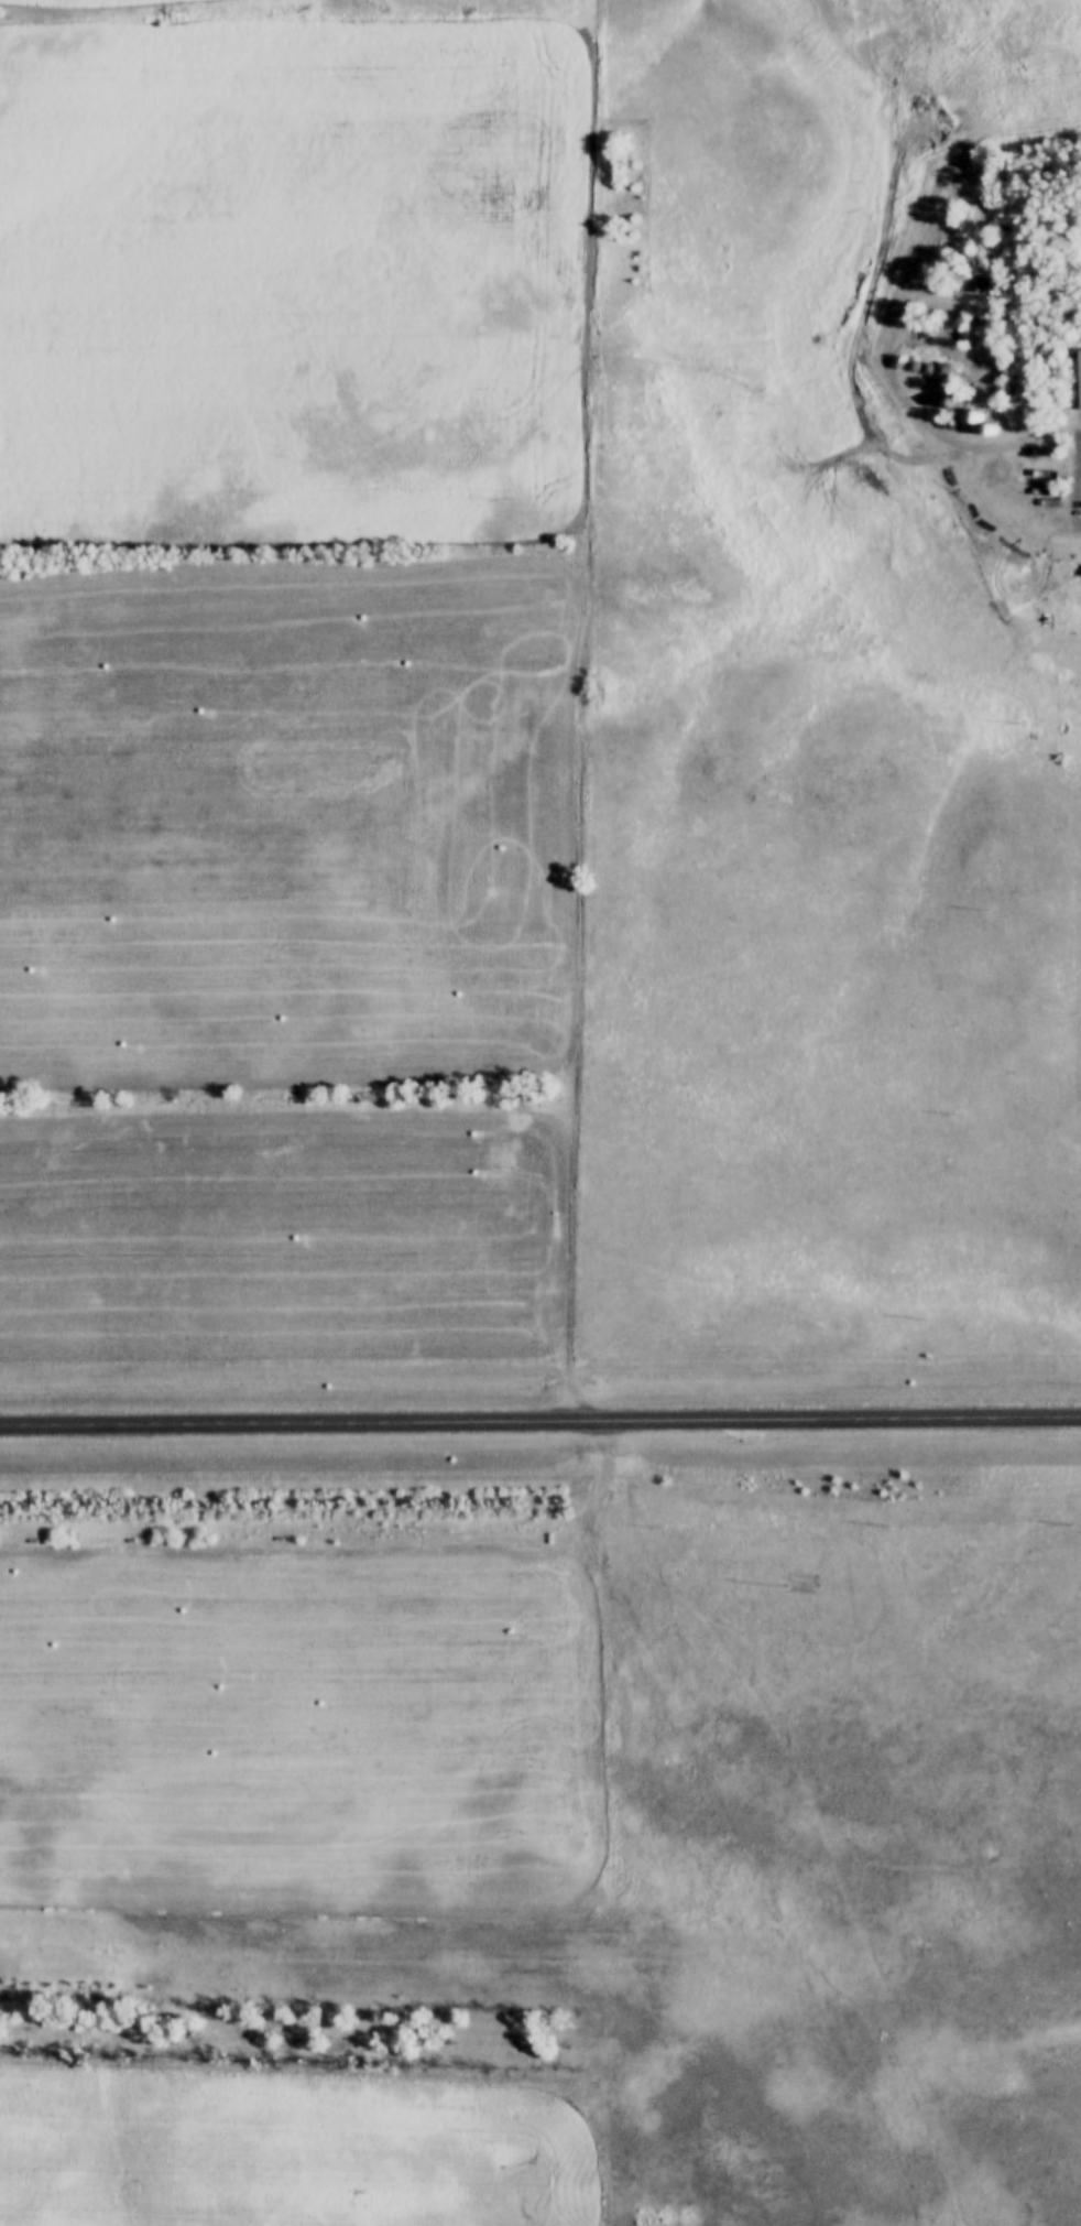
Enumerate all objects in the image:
building: (943, 371)
road: (583, 708)
road: (539, 1418)

